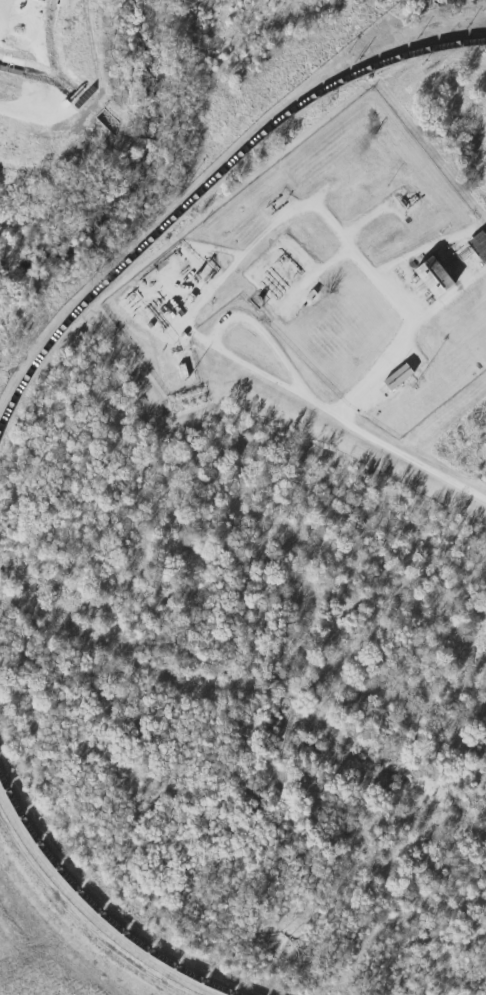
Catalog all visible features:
railway: (208, 181)
building: (429, 277)
road: (403, 308)
road: (265, 332)
road: (319, 404)
railway: (96, 911)

